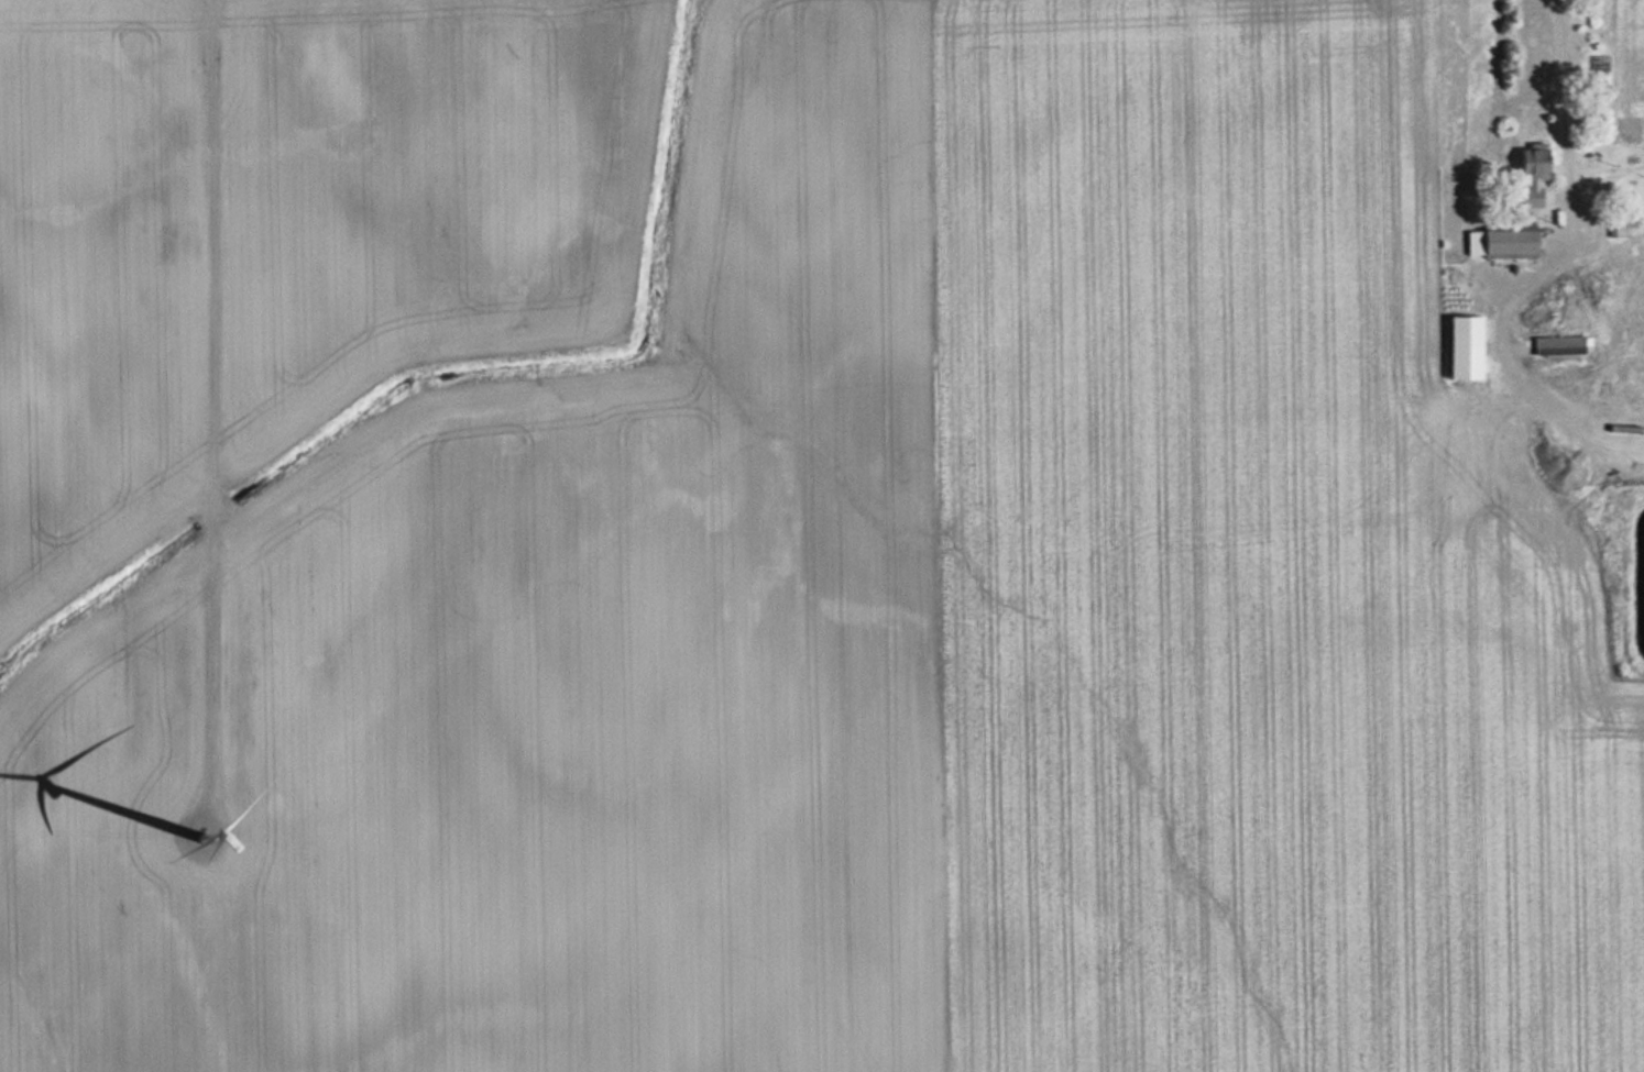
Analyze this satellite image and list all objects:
building: (1523, 176)
building: (1610, 221)
building: (1494, 242)
building: (1601, 325)
building: (1456, 346)
road: (206, 379)
wind turbine: (200, 836)

